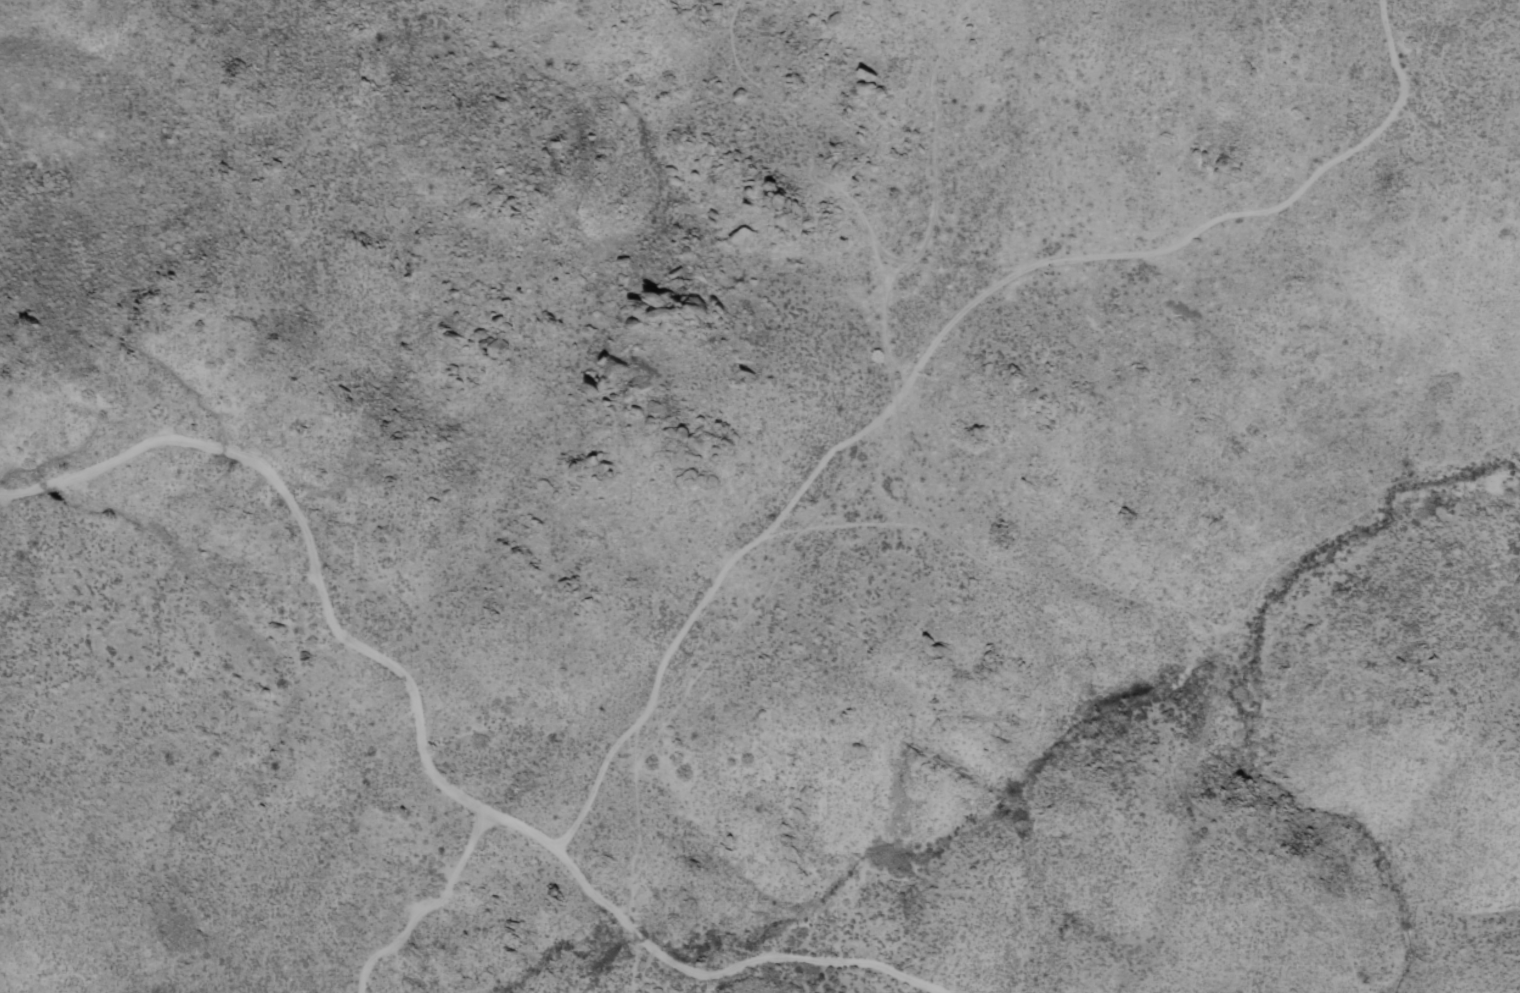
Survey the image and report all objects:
road: (456, 739)

